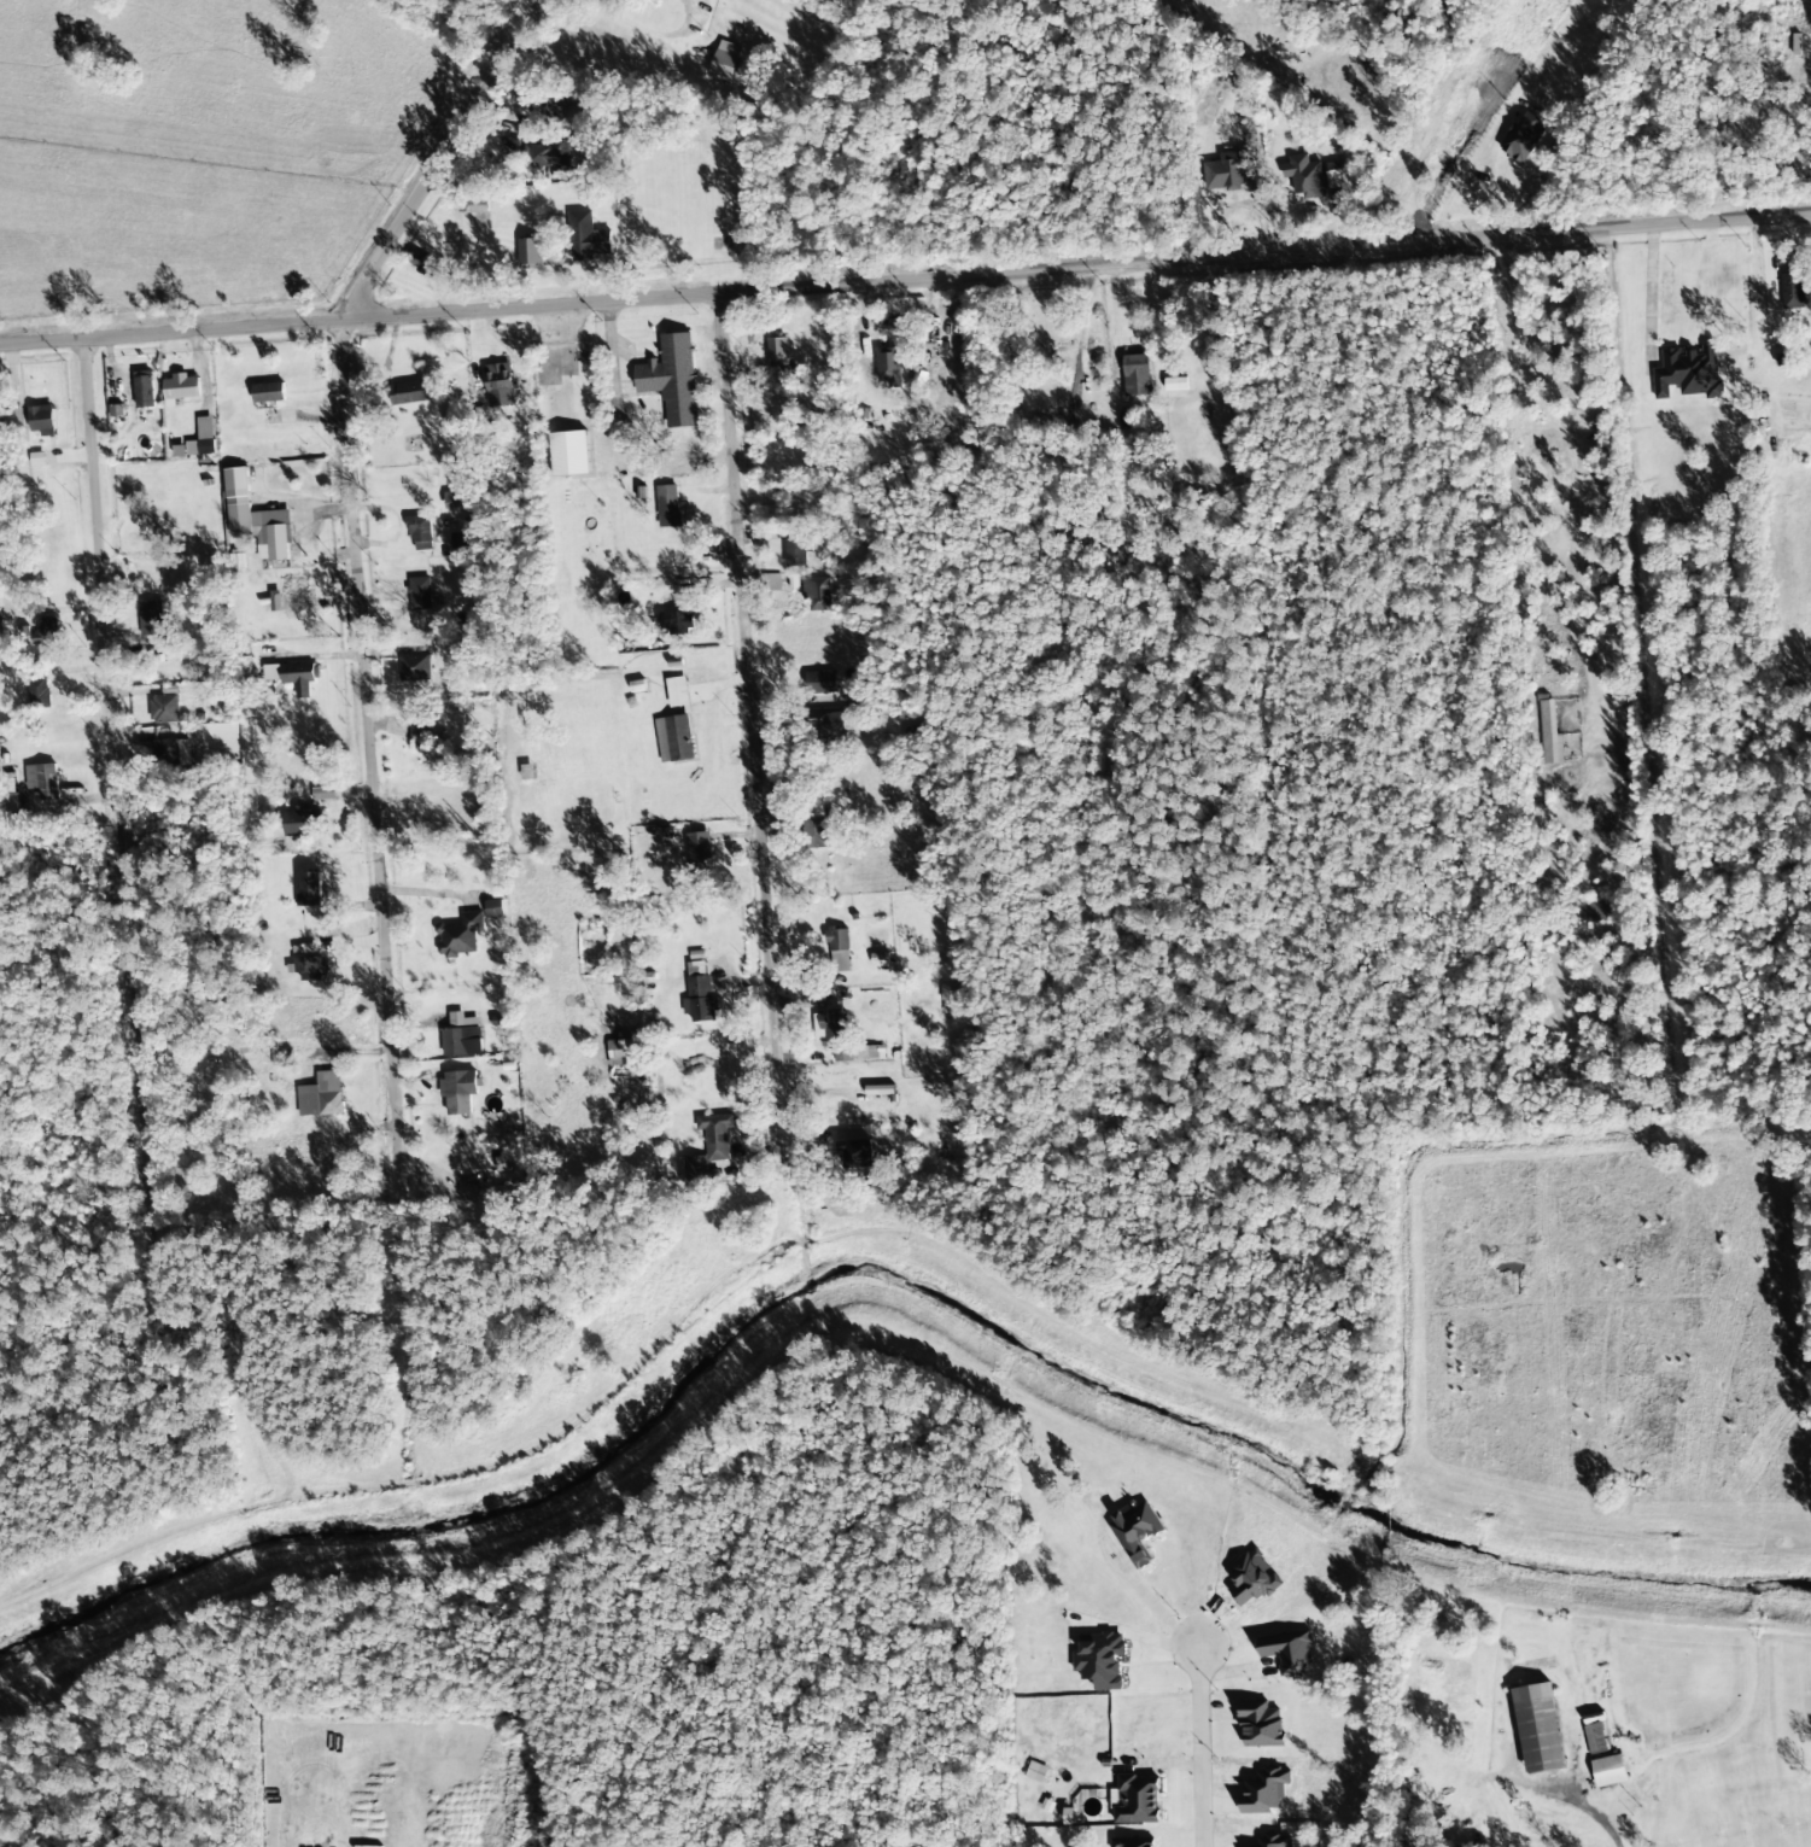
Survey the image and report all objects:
building: (725, 60)
building: (1523, 138)
building: (547, 156)
road: (437, 158)
building: (1229, 170)
building: (1336, 175)
building: (1302, 179)
building: (588, 238)
building: (530, 253)
building: (422, 261)
road: (905, 274)
building: (1790, 291)
building: (1665, 297)
building: (777, 352)
building: (888, 367)
building: (1133, 373)
building: (1688, 373)
building: (672, 379)
building: (1175, 384)
building: (500, 385)
building: (180, 388)
building: (144, 392)
building: (413, 392)
building: (268, 393)
building: (41, 420)
building: (2, 422)
building: (198, 440)
building: (569, 454)
building: (456, 499)
building: (667, 505)
building: (257, 519)
building: (420, 532)
building: (796, 551)
building: (777, 584)
building: (420, 594)
building: (817, 594)
building: (275, 601)
building: (789, 606)
building: (153, 620)
building: (677, 623)
building: (45, 631)
road: (1675, 659)
building: (415, 667)
building: (293, 676)
building: (820, 683)
building: (164, 709)
road: (749, 721)
building: (828, 726)
building: (422, 735)
building: (1548, 735)
building: (673, 740)
road: (368, 749)
building: (165, 753)
building: (41, 781)
building: (303, 823)
road: (116, 846)
building: (699, 852)
building: (312, 896)
building: (495, 908)
building: (460, 935)
building: (839, 949)
building: (310, 968)
building: (700, 994)
building: (947, 999)
building: (875, 1010)
building: (831, 1031)
building: (462, 1041)
building: (458, 1091)
building: (880, 1091)
building: (321, 1095)
road: (1525, 1104)
building: (709, 1146)
building: (1135, 1532)
building: (1287, 1653)
building: (1102, 1661)
road: (109, 1724)
building: (1261, 1725)
building: (1537, 1729)
building: (1595, 1738)
road: (1200, 1747)
building: (1608, 1771)
building: (1035, 1772)
building: (1264, 1792)
building: (1137, 1799)
building: (1274, 1841)
building: (1134, 1842)

